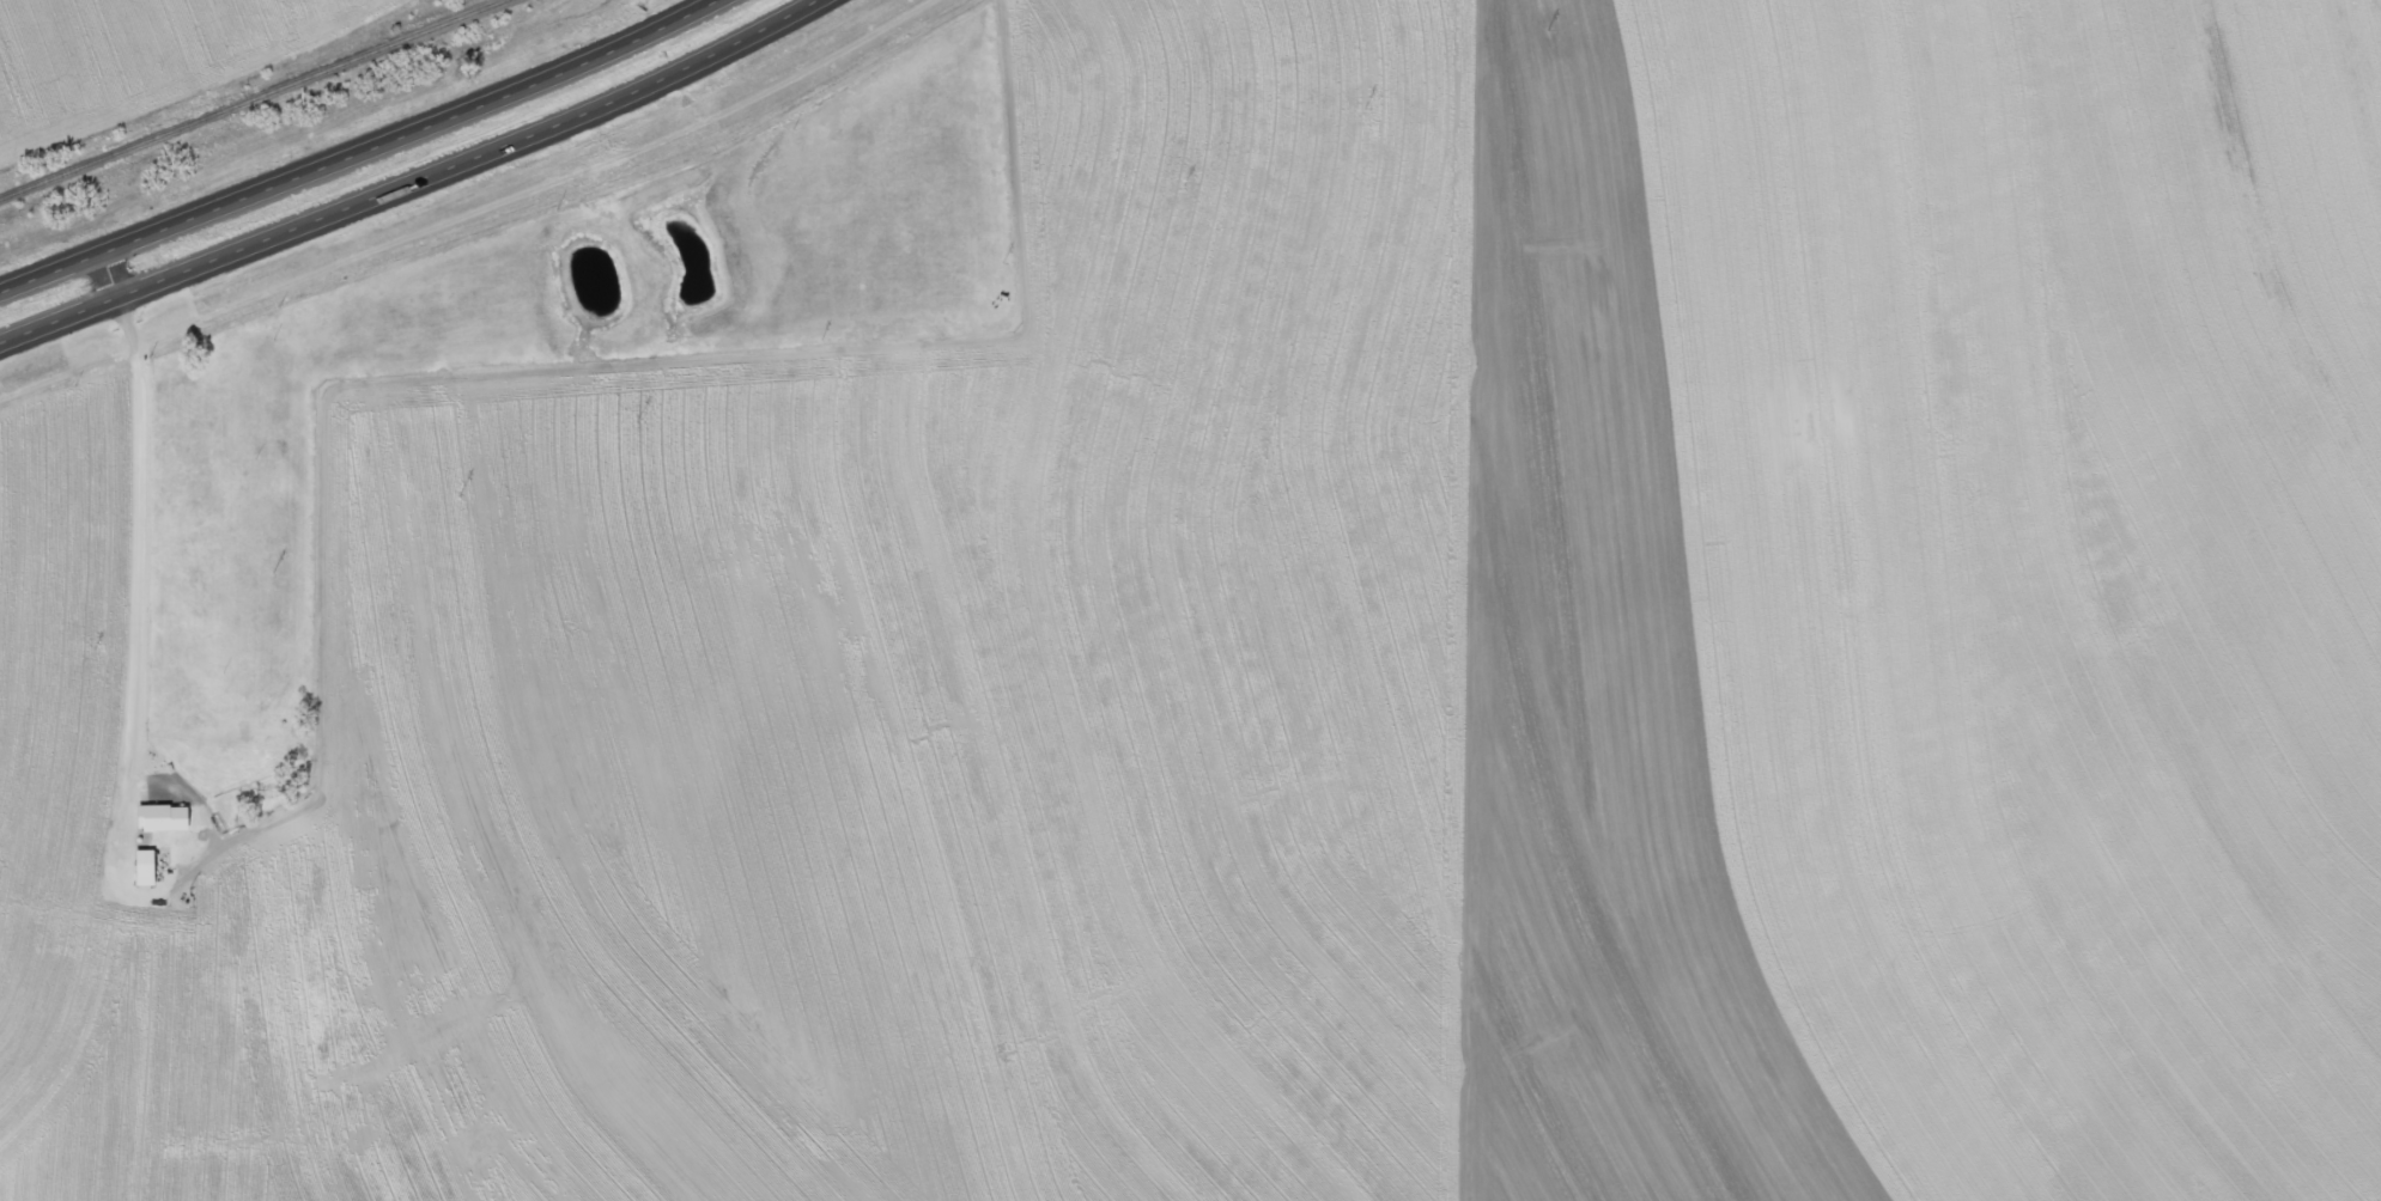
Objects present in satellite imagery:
railway: (249, 99)
road: (358, 153)
road: (414, 183)
road: (469, 213)
road: (132, 536)

